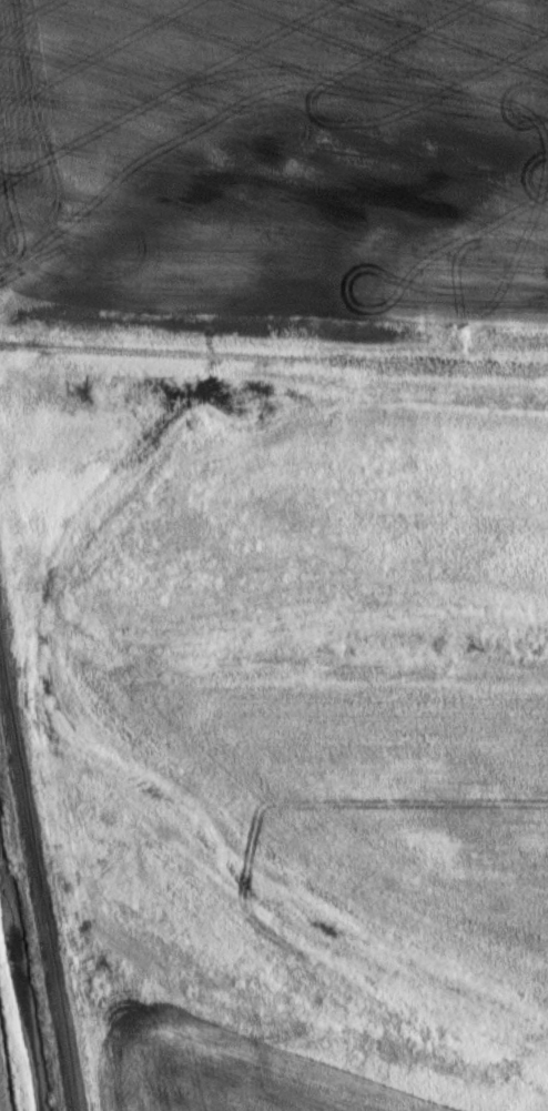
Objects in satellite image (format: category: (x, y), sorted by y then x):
road: (38, 881)

